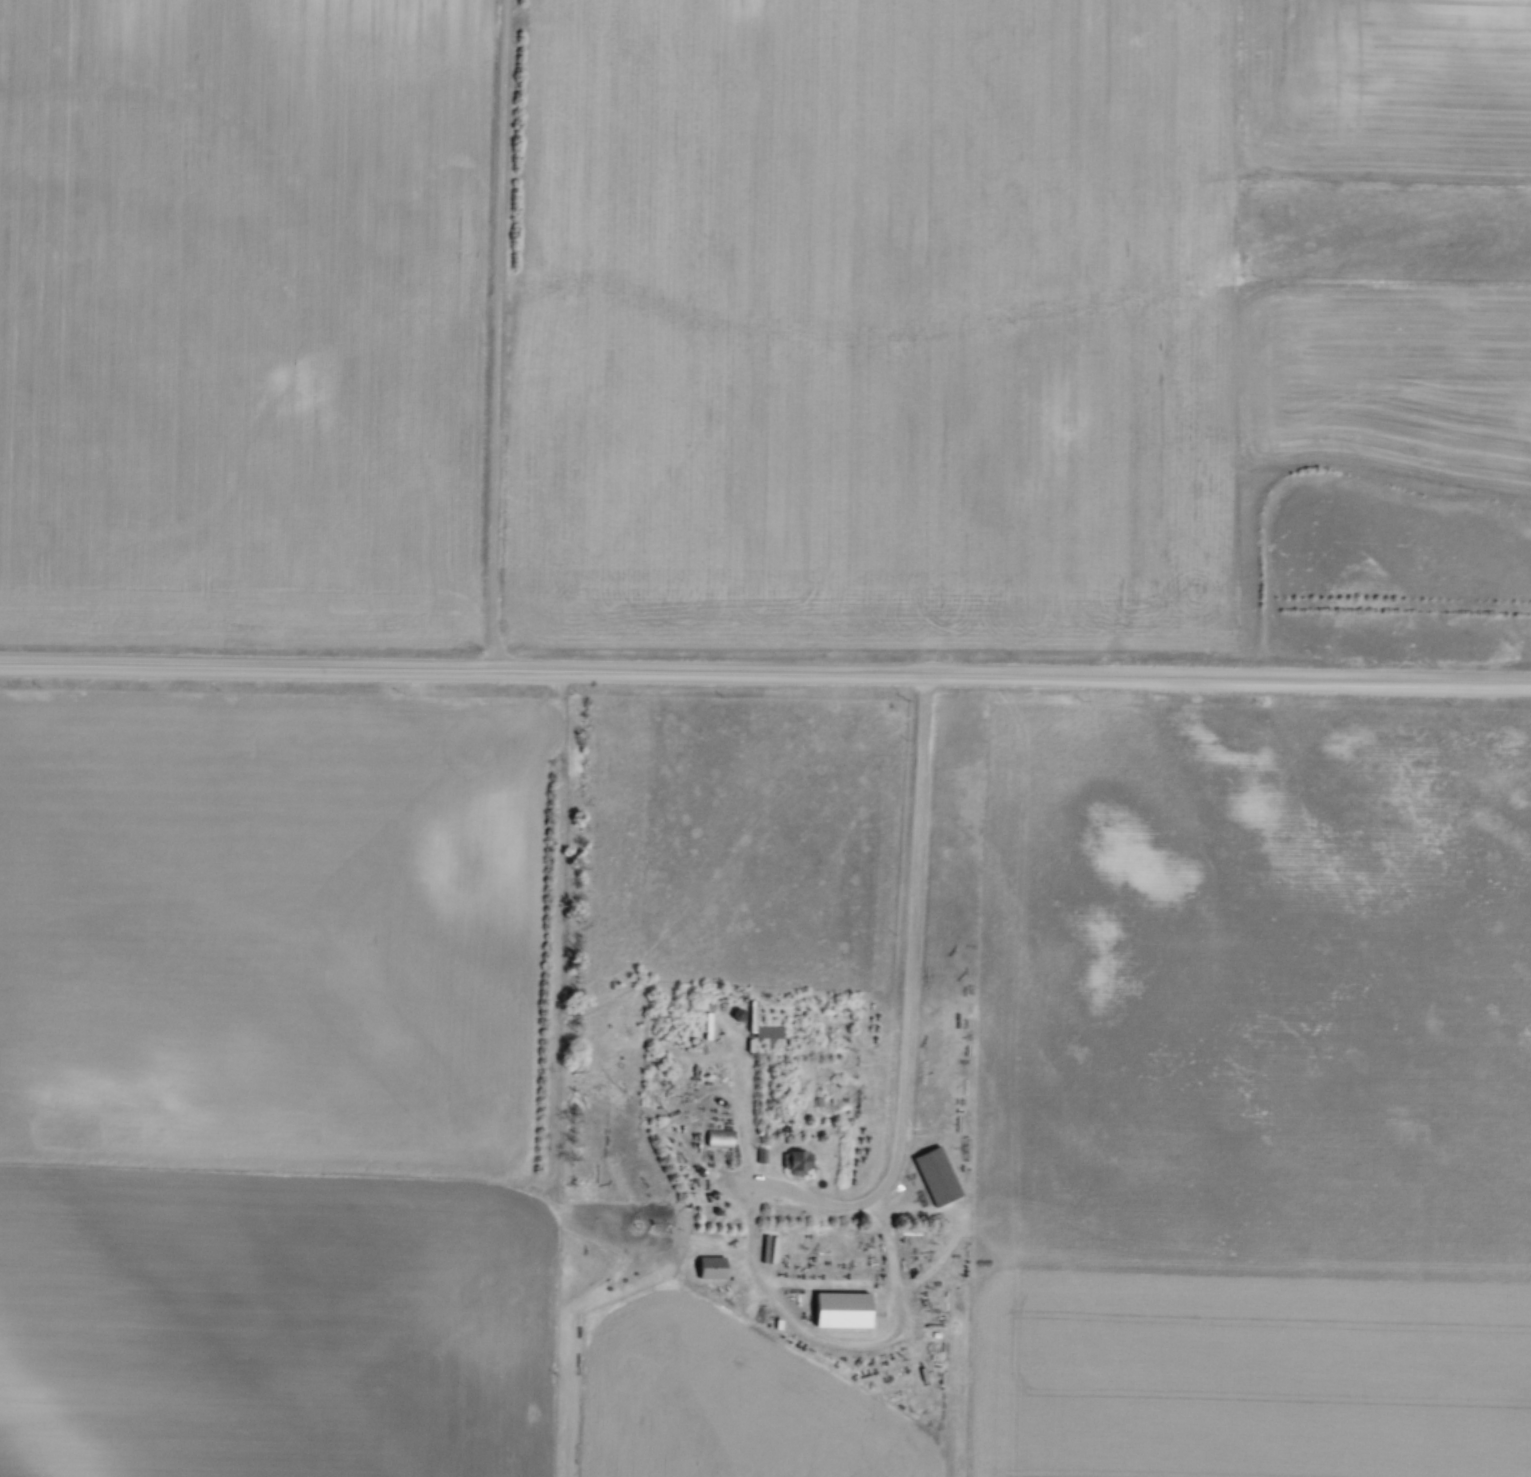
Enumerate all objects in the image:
crop: (969, 307)
crop: (243, 320)
road: (495, 333)
road: (765, 669)
road: (907, 1000)
building: (753, 1010)
silo: (737, 1012)
building: (708, 1023)
building: (819, 1099)
building: (719, 1136)
building: (762, 1153)
building: (796, 1159)
crop: (510, 1174)

